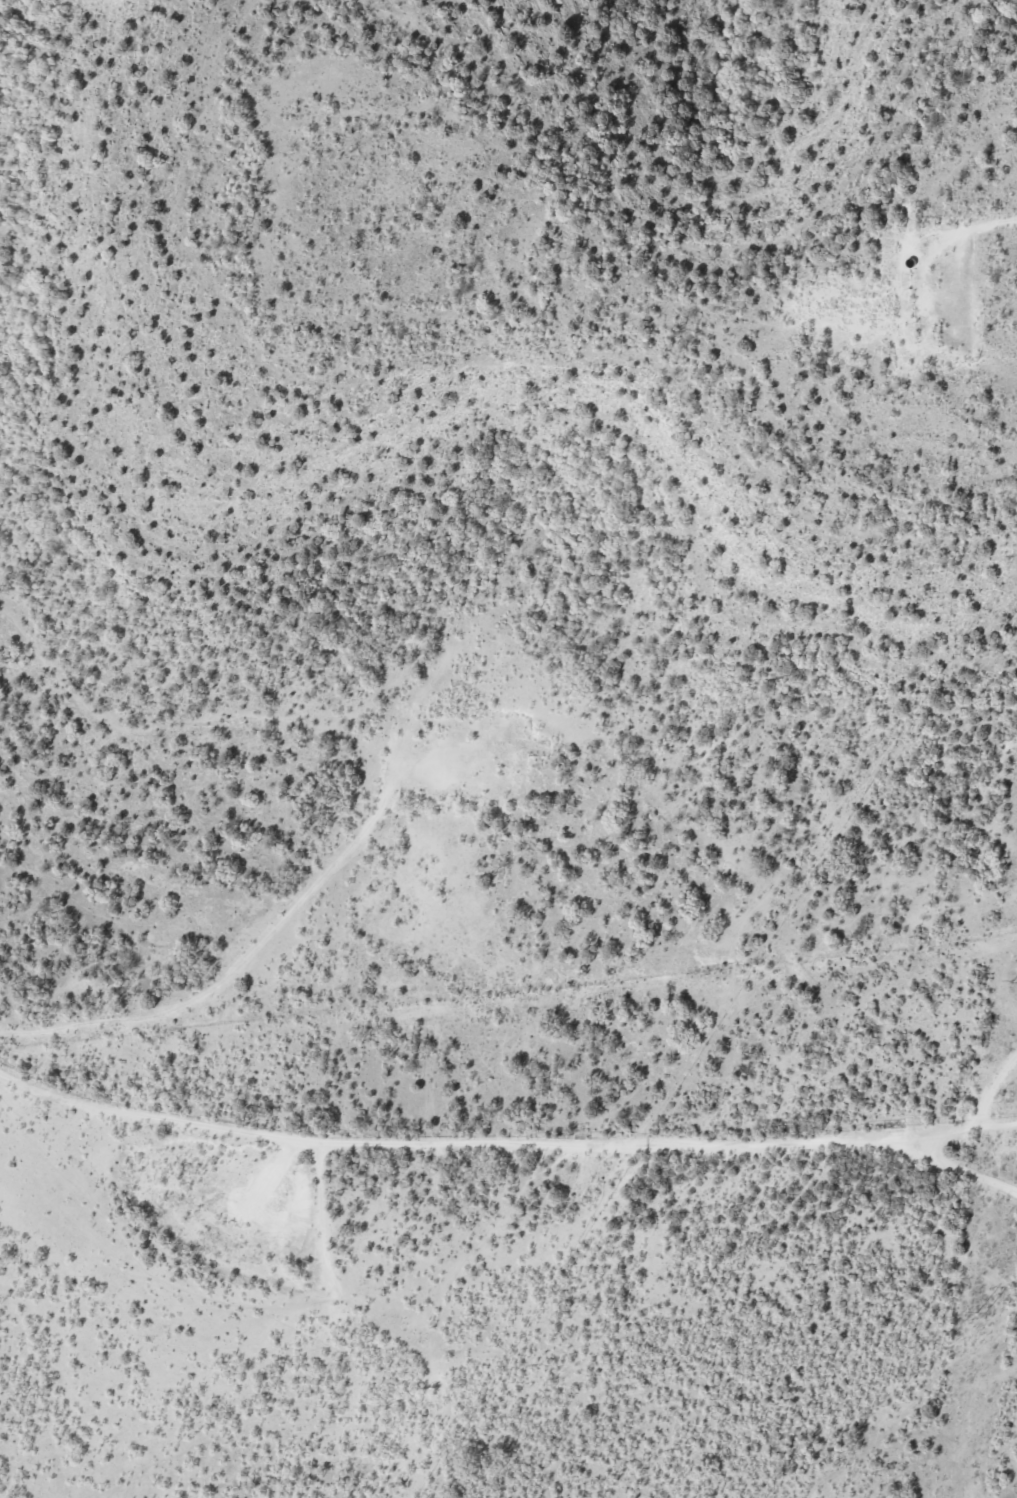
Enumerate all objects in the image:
road: (994, 1071)
road: (517, 1118)
road: (333, 1186)
power tower: (983, 1311)

